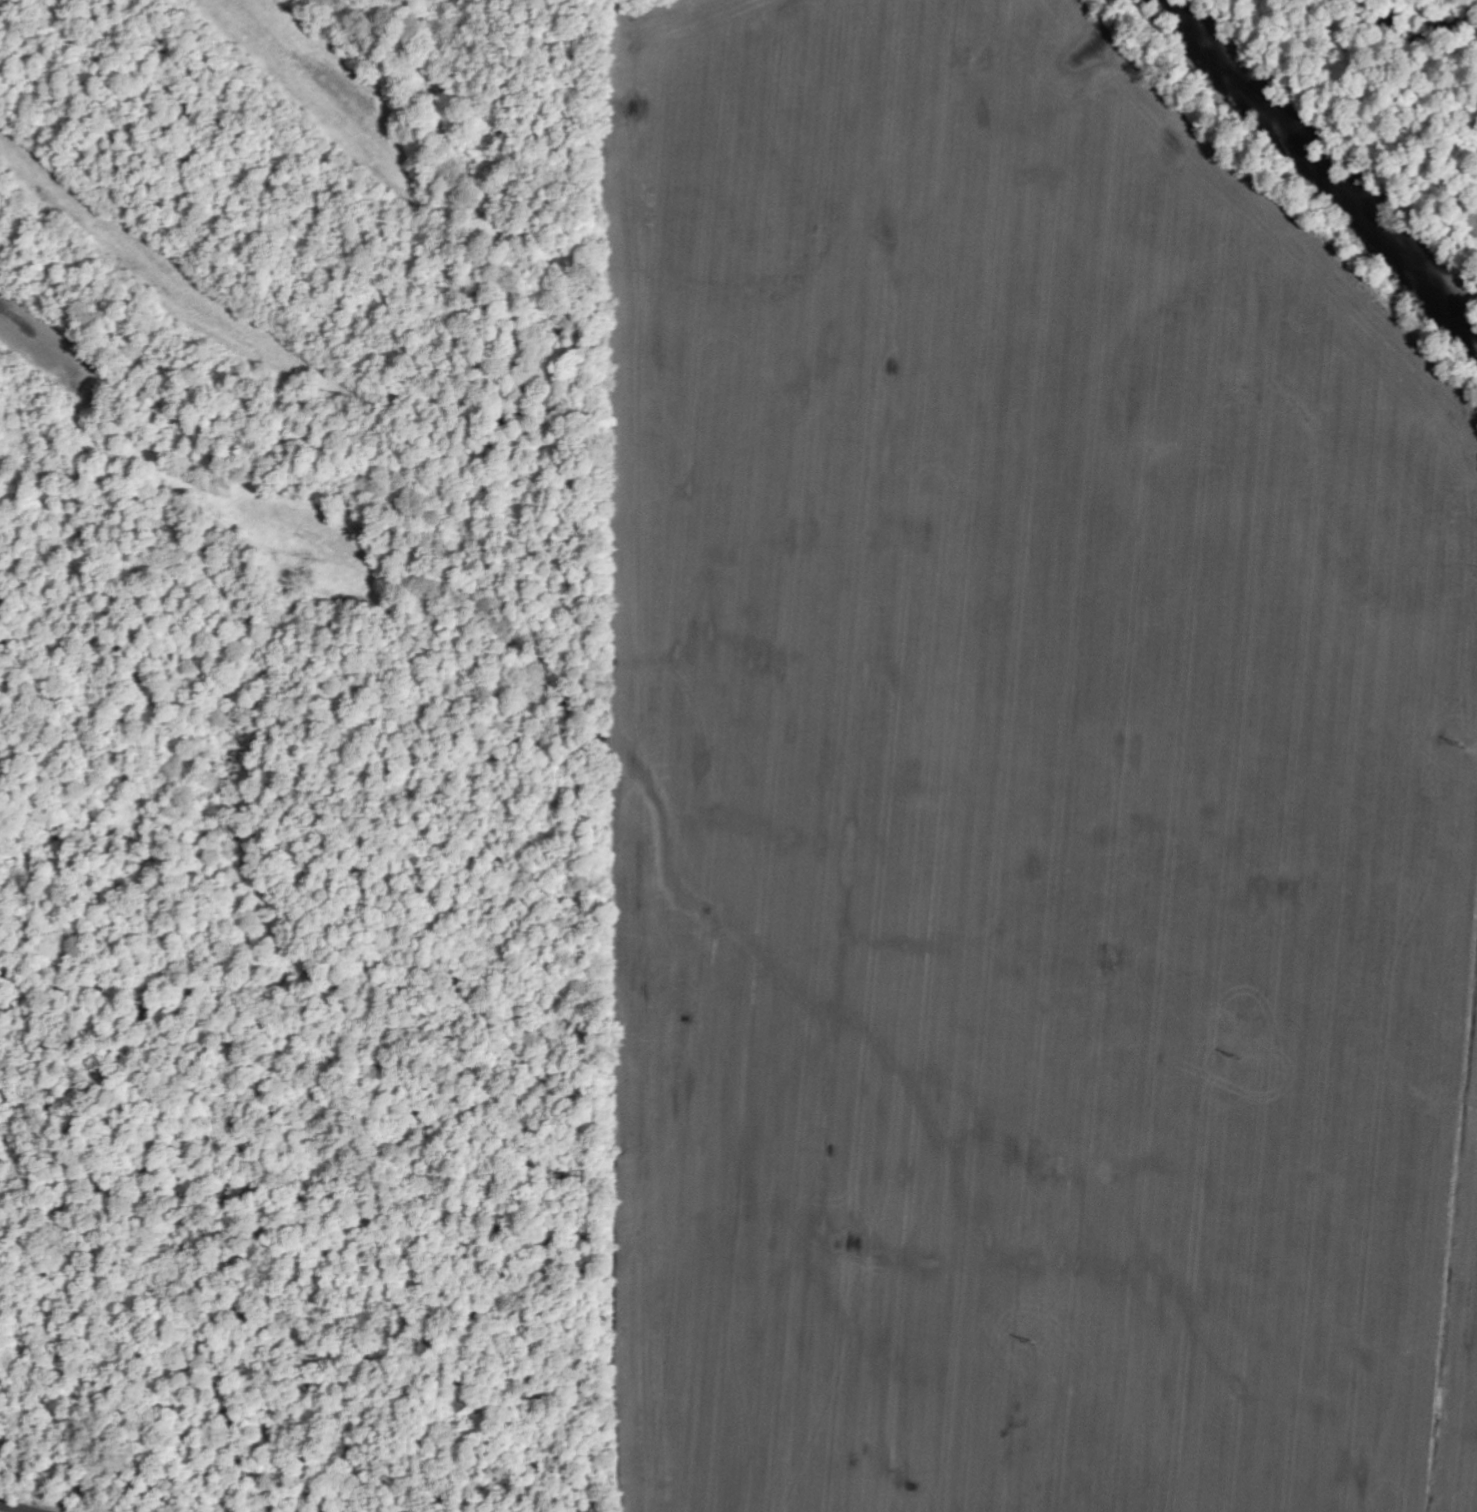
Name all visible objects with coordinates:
river: (1318, 163)
power tower: (1472, 747)
power tower: (1244, 1060)
power tower: (1042, 1344)
road: (11, 1509)

